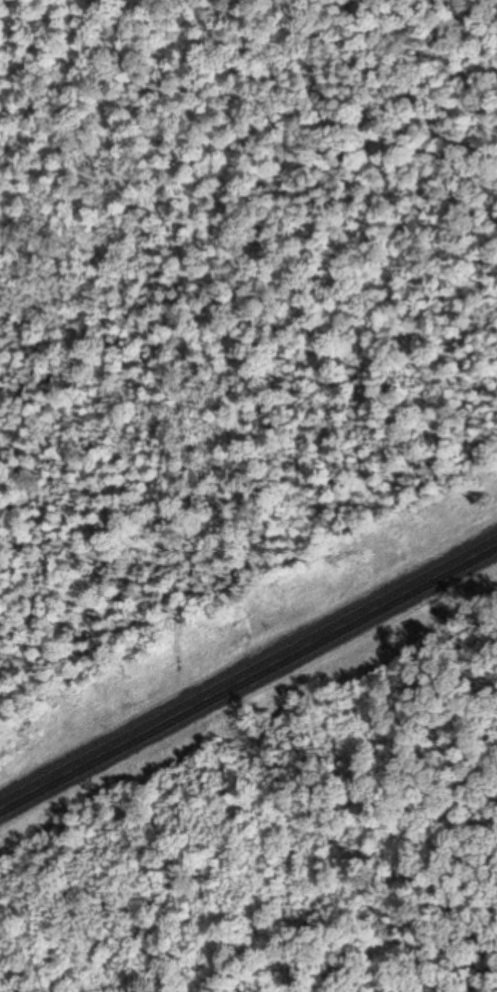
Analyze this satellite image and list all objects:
road: (248, 672)

